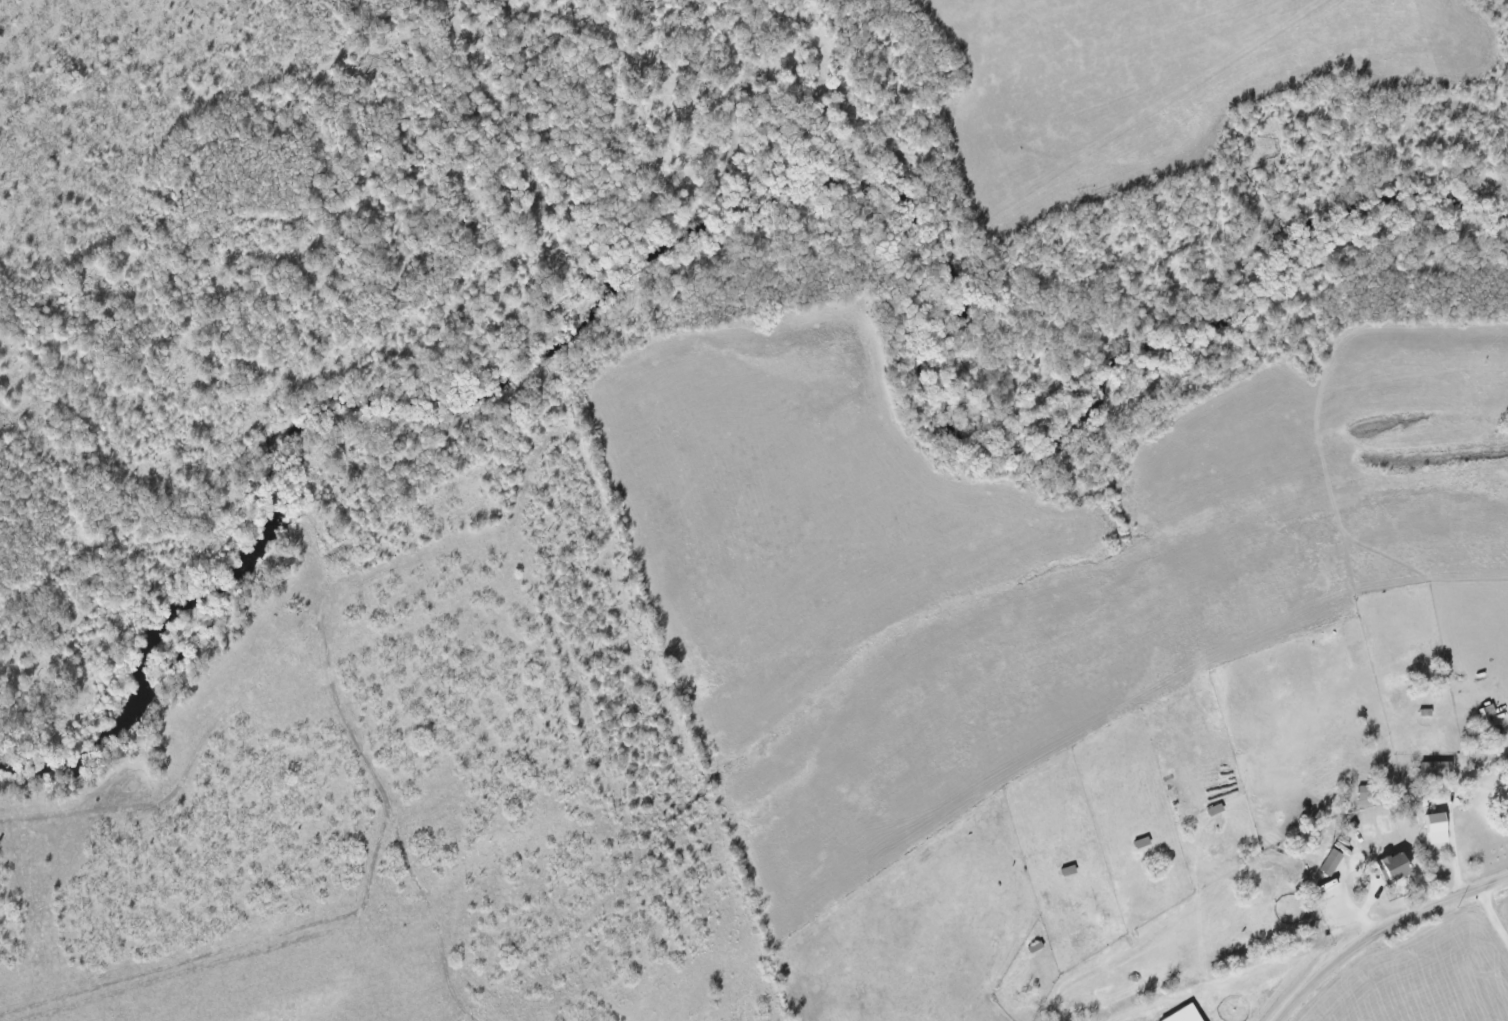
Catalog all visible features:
building: (1436, 767)
road: (1455, 851)
building: (1331, 862)
building: (1393, 866)
road: (1492, 914)
road: (1380, 930)
building: (1185, 1014)

